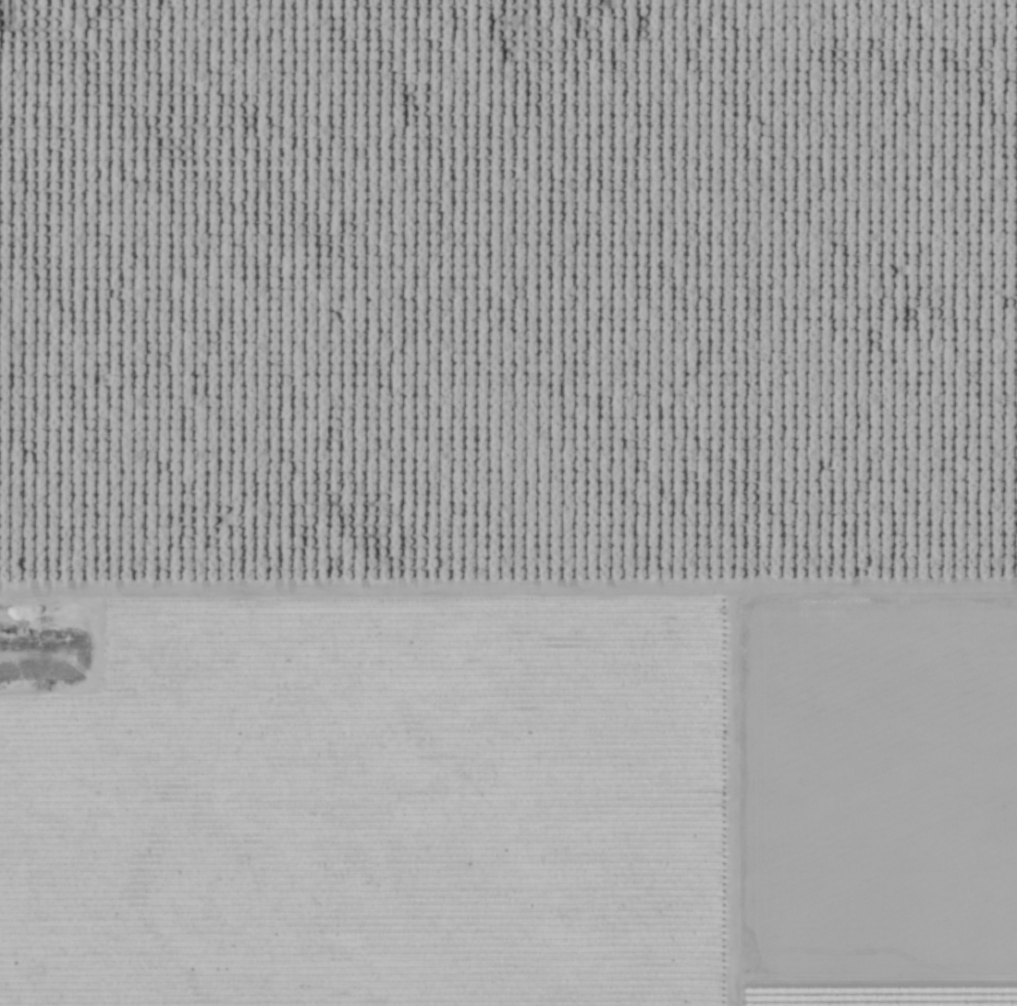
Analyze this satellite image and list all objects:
road: (508, 590)
road: (729, 797)

